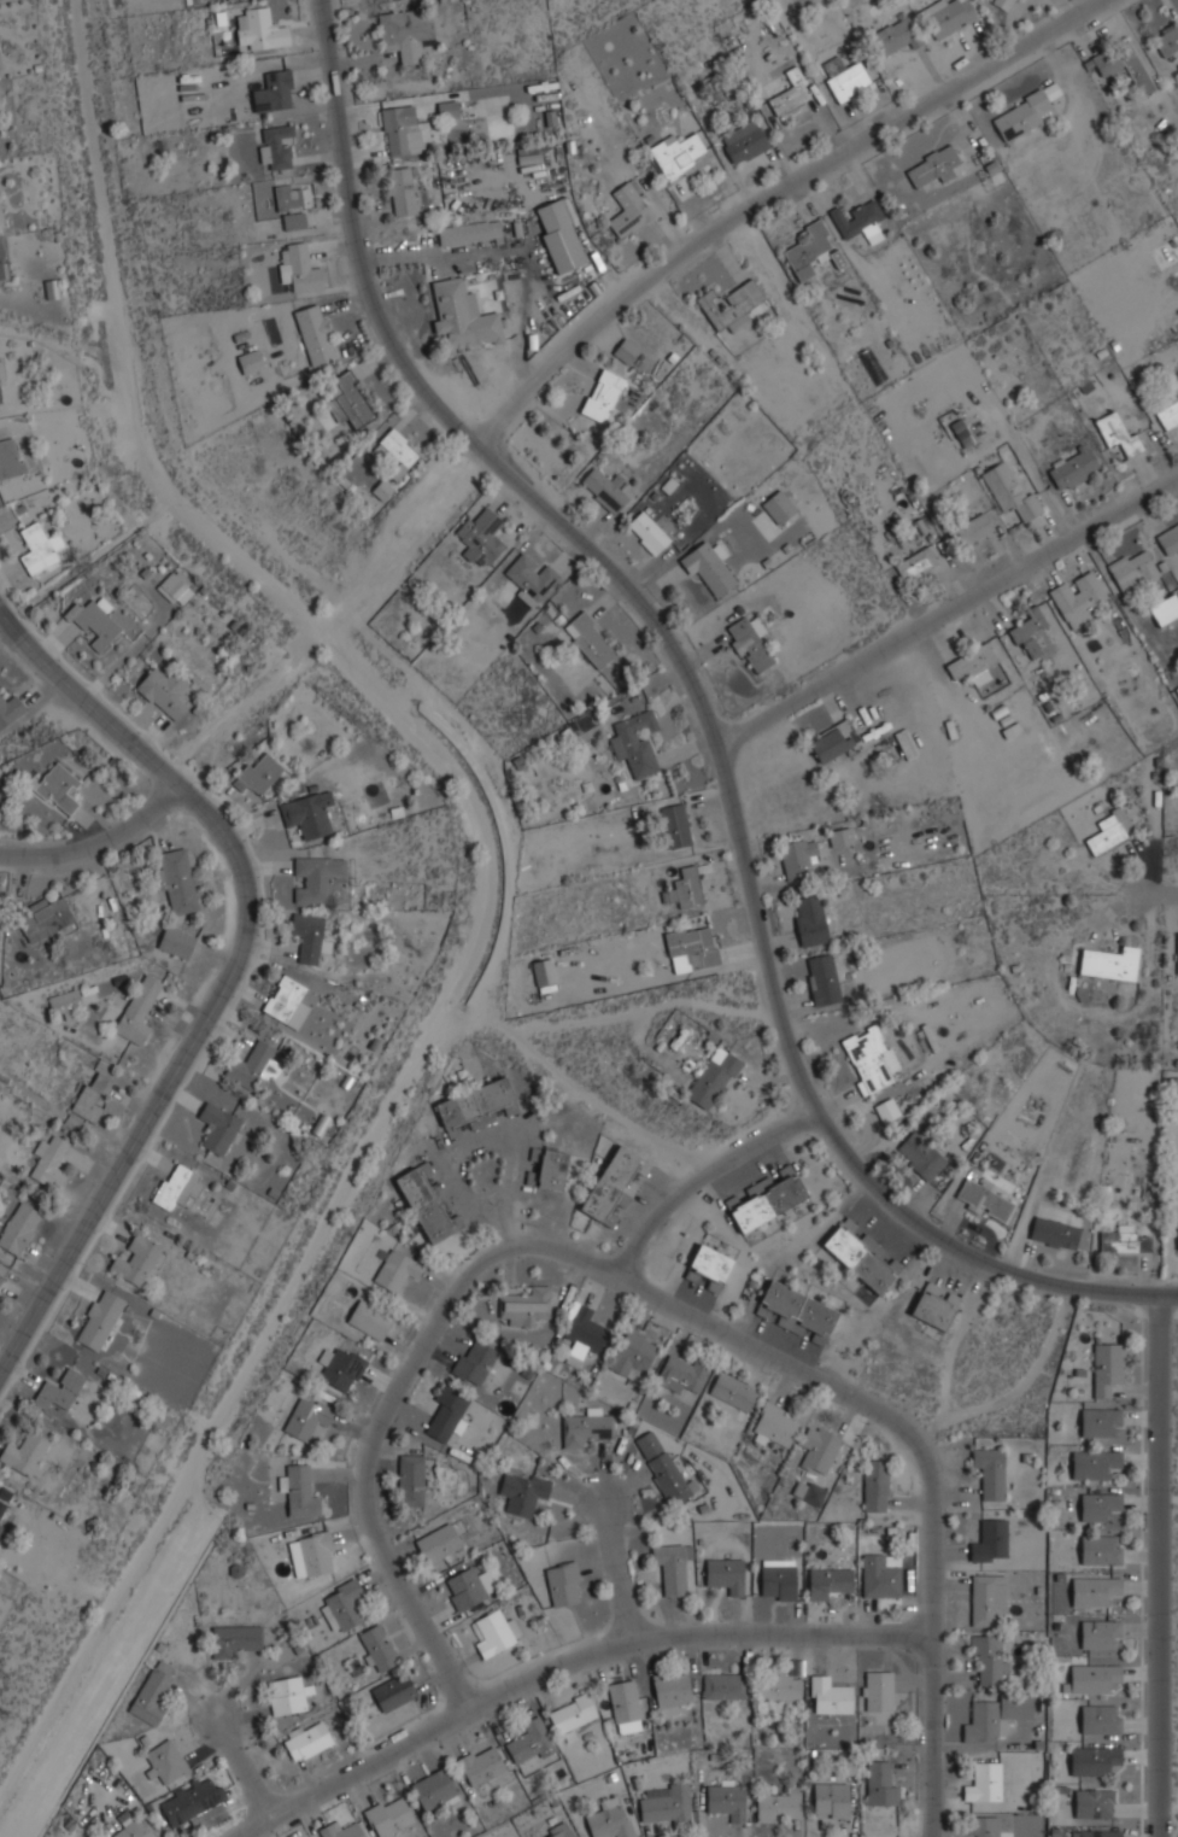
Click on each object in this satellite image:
building: (1003, 4)
building: (951, 17)
building: (262, 29)
building: (409, 33)
building: (895, 36)
building: (1167, 40)
building: (1123, 64)
building: (849, 81)
building: (275, 92)
building: (791, 93)
building: (449, 109)
building: (1027, 112)
building: (405, 130)
building: (745, 141)
building: (277, 147)
building: (678, 153)
building: (529, 154)
building: (934, 166)
building: (403, 191)
road: (769, 194)
building: (295, 195)
building: (632, 209)
building: (860, 220)
building: (294, 221)
building: (470, 233)
building: (561, 236)
building: (810, 250)
building: (0, 268)
building: (299, 269)
building: (734, 305)
building: (464, 315)
building: (317, 334)
building: (627, 350)
building: (252, 361)
building: (0, 394)
building: (604, 394)
building: (350, 399)
building: (1168, 415)
building: (961, 433)
building: (1120, 434)
building: (399, 451)
building: (11, 457)
building: (1074, 467)
building: (382, 490)
building: (606, 490)
building: (1010, 491)
building: (780, 507)
building: (972, 531)
building: (649, 532)
building: (482, 537)
building: (1168, 539)
building: (40, 548)
building: (918, 563)
building: (709, 567)
building: (1133, 571)
building: (533, 578)
building: (175, 589)
building: (1078, 597)
building: (1165, 609)
road: (949, 612)
road: (327, 614)
building: (94, 620)
building: (1031, 632)
building: (591, 639)
building: (751, 645)
building: (972, 662)
building: (1177, 688)
building: (165, 691)
building: (10, 708)
road: (703, 713)
building: (836, 741)
building: (638, 742)
building: (259, 772)
building: (60, 788)
building: (307, 813)
building: (678, 825)
building: (1112, 830)
building: (842, 836)
road: (96, 842)
building: (799, 856)
building: (317, 878)
building: (177, 881)
building: (687, 888)
road: (1159, 893)
building: (46, 918)
building: (811, 920)
building: (310, 936)
building: (177, 942)
building: (1177, 942)
building: (693, 948)
building: (1113, 963)
building: (545, 972)
road: (233, 973)
building: (825, 978)
building: (286, 999)
building: (69, 1002)
building: (140, 1010)
building: (869, 1060)
building: (251, 1064)
building: (715, 1078)
building: (93, 1096)
building: (476, 1101)
building: (889, 1111)
building: (218, 1128)
road: (461, 1153)
building: (921, 1156)
building: (51, 1163)
building: (553, 1169)
road: (707, 1175)
building: (614, 1182)
building: (178, 1186)
building: (770, 1199)
building: (985, 1200)
building: (426, 1204)
building: (19, 1228)
building: (1056, 1233)
building: (1125, 1240)
building: (861, 1257)
building: (139, 1259)
road: (485, 1264)
building: (713, 1266)
building: (397, 1269)
building: (1, 1276)
building: (523, 1305)
building: (801, 1307)
building: (933, 1309)
building: (371, 1318)
building: (100, 1320)
building: (582, 1333)
building: (635, 1355)
building: (476, 1359)
building: (1107, 1368)
building: (344, 1369)
building: (686, 1374)
building: (61, 1390)
building: (734, 1391)
building: (449, 1412)
building: (309, 1415)
building: (1101, 1420)
building: (776, 1426)
building: (587, 1428)
building: (649, 1444)
building: (820, 1449)
building: (25, 1452)
building: (1096, 1463)
building: (992, 1472)
building: (669, 1478)
building: (412, 1480)
building: (878, 1487)
building: (810, 1491)
building: (300, 1492)
building: (523, 1492)
building: (1100, 1505)
building: (4, 1511)
building: (992, 1541)
building: (440, 1543)
building: (1103, 1549)
building: (318, 1554)
road: (1160, 1566)
road: (615, 1567)
building: (673, 1567)
building: (727, 1574)
building: (883, 1575)
building: (831, 1580)
building: (779, 1582)
building: (565, 1584)
building: (465, 1589)
building: (1096, 1590)
building: (989, 1598)
building: (345, 1607)
building: (497, 1633)
building: (1100, 1633)
road: (936, 1637)
building: (235, 1639)
building: (379, 1648)
road: (563, 1655)
building: (991, 1658)
building: (1094, 1677)
building: (726, 1685)
building: (781, 1685)
building: (879, 1690)
building: (153, 1692)
building: (394, 1692)
building: (673, 1692)
building: (288, 1695)
building: (831, 1695)
building: (626, 1706)
building: (574, 1713)
building: (996, 1718)
building: (1102, 1719)
building: (309, 1739)
building: (533, 1742)
building: (1096, 1760)
building: (168, 1761)
road: (242, 1766)
building: (482, 1766)
building: (986, 1783)
building: (881, 1784)
building: (435, 1790)
building: (728, 1797)
building: (832, 1800)
building: (193, 1803)
building: (668, 1803)
building: (1096, 1803)
building: (781, 1806)
building: (389, 1815)
building: (611, 1819)
building: (987, 1826)
building: (136, 1827)
building: (341, 1830)
building: (563, 1832)
building: (1098, 1832)

